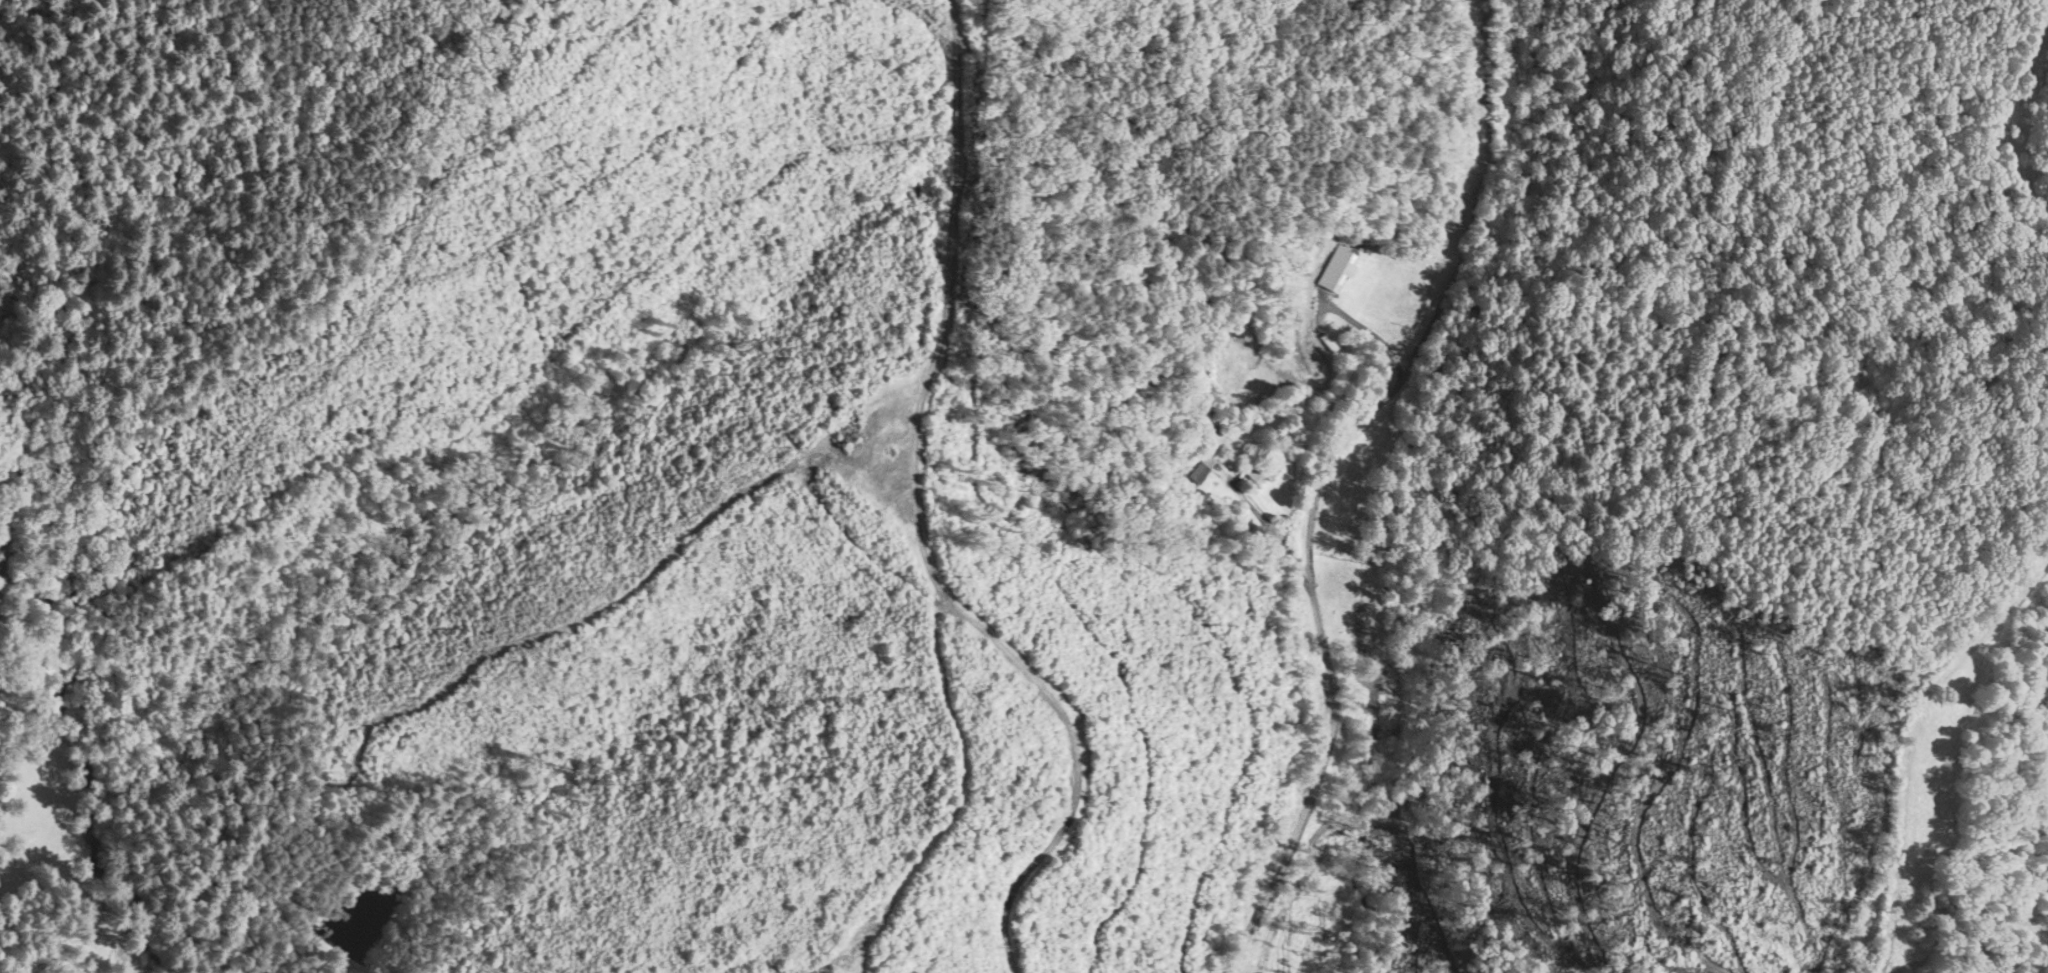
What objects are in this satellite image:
building: (1342, 274)
building: (1206, 469)
building: (1263, 470)
road: (1325, 667)

